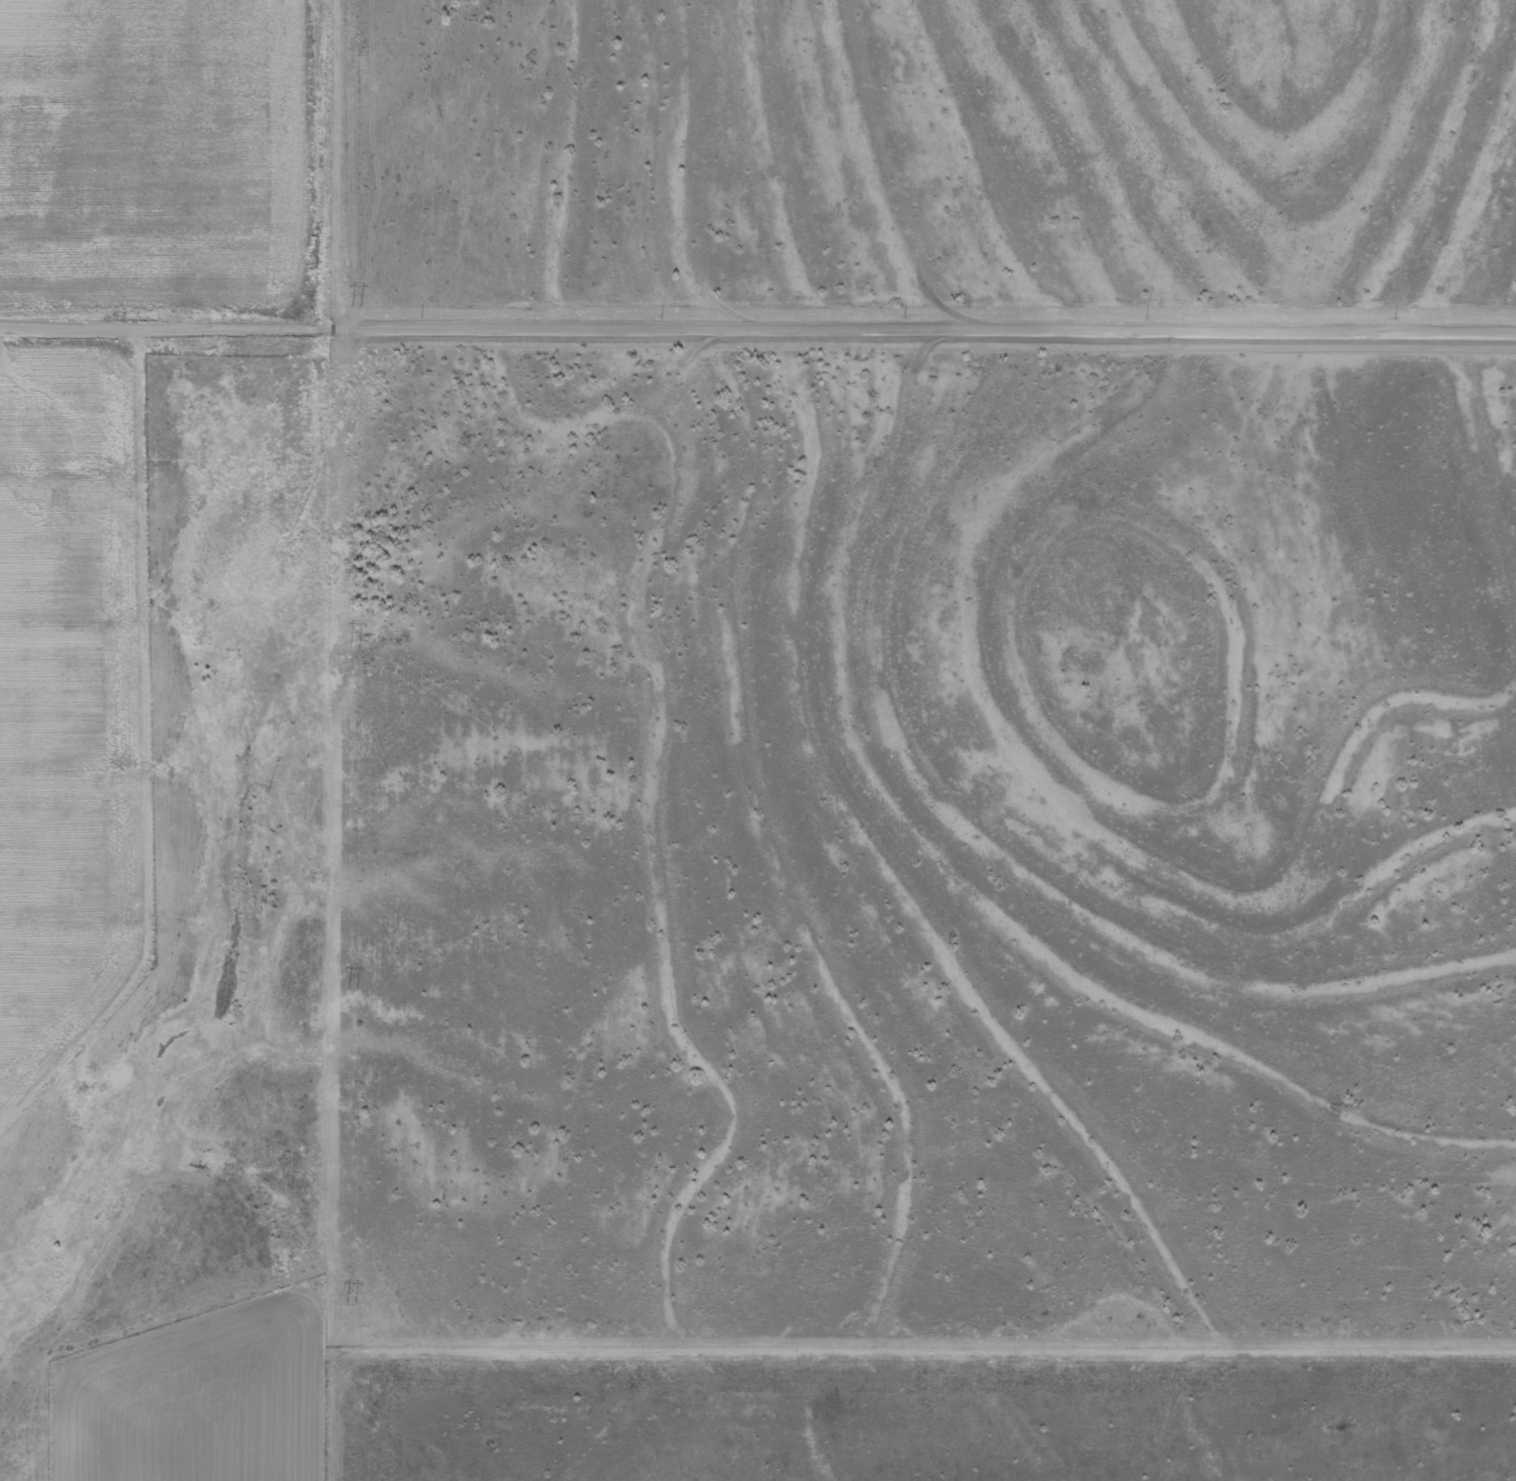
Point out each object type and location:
power tower: (355, 307)
road: (757, 327)
power tower: (354, 648)
power tower: (353, 990)
power tower: (350, 1305)

